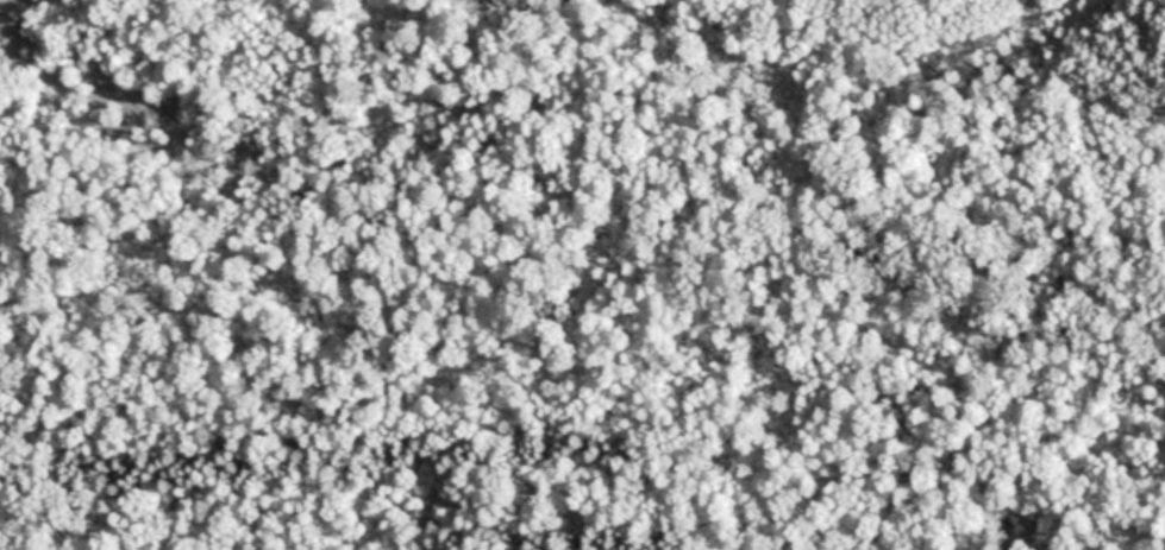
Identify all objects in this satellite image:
park: (582, 274)

